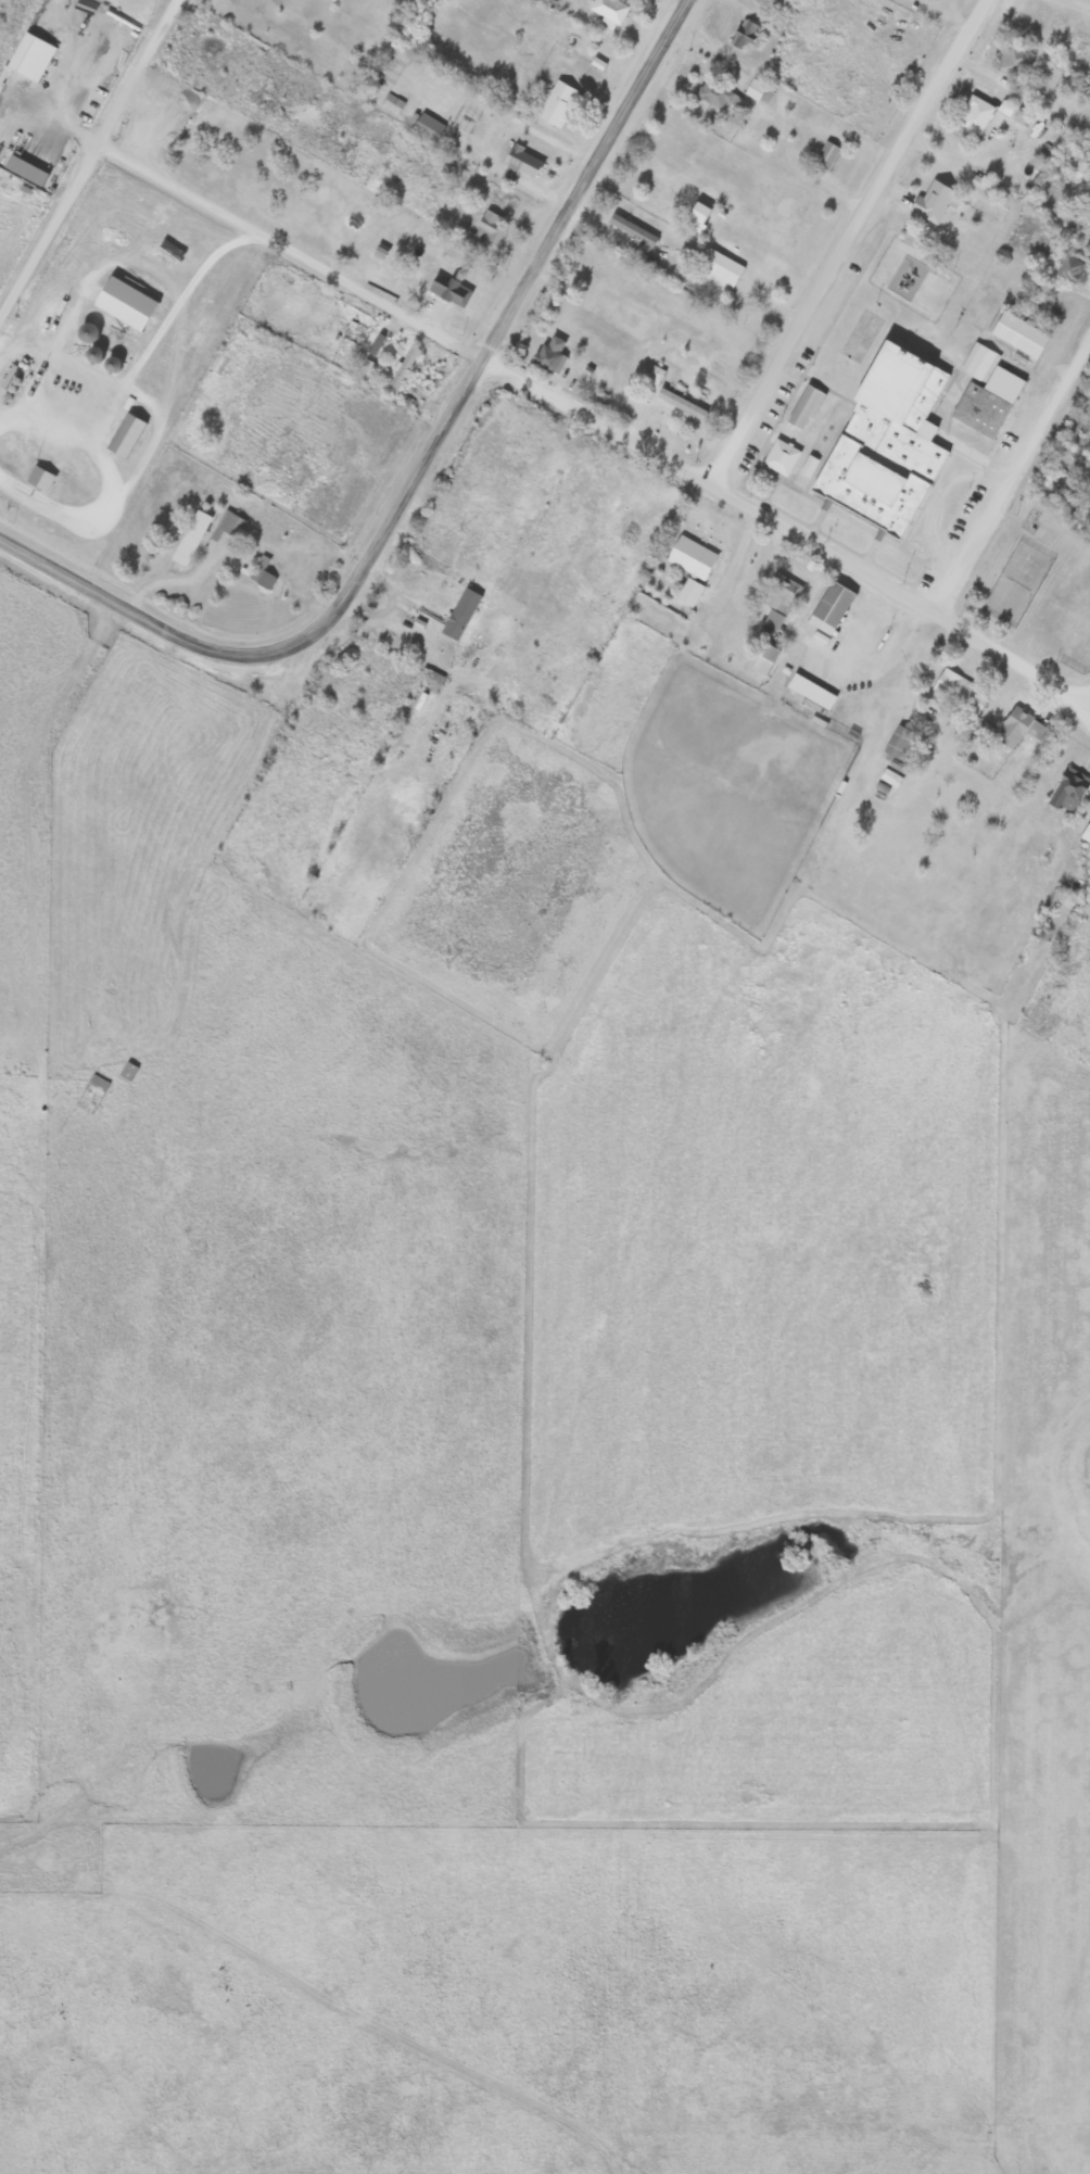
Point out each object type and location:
building: (938, 0)
building: (608, 12)
road: (999, 24)
building: (29, 56)
building: (1012, 61)
building: (758, 92)
building: (718, 97)
building: (556, 103)
building: (974, 114)
building: (153, 124)
building: (427, 127)
building: (825, 154)
road: (90, 157)
building: (522, 162)
building: (931, 201)
building: (695, 216)
building: (487, 229)
building: (631, 229)
road: (850, 241)
building: (1067, 268)
building: (719, 269)
building: (448, 290)
building: (86, 332)
road: (498, 332)
building: (1017, 334)
building: (549, 355)
building: (367, 367)
building: (403, 367)
building: (984, 391)
building: (680, 404)
road: (598, 422)
building: (125, 435)
building: (884, 442)
building: (780, 456)
building: (808, 467)
road: (1009, 468)
building: (38, 479)
building: (632, 536)
building: (190, 538)
building: (690, 567)
building: (261, 579)
building: (778, 601)
building: (829, 608)
road: (139, 611)
building: (459, 615)
building: (903, 652)
building: (763, 659)
building: (431, 681)
building: (959, 692)
road: (1088, 708)
building: (1018, 728)
building: (901, 744)
building: (1067, 791)
building: (1085, 833)
building: (127, 1071)
building: (98, 1083)

